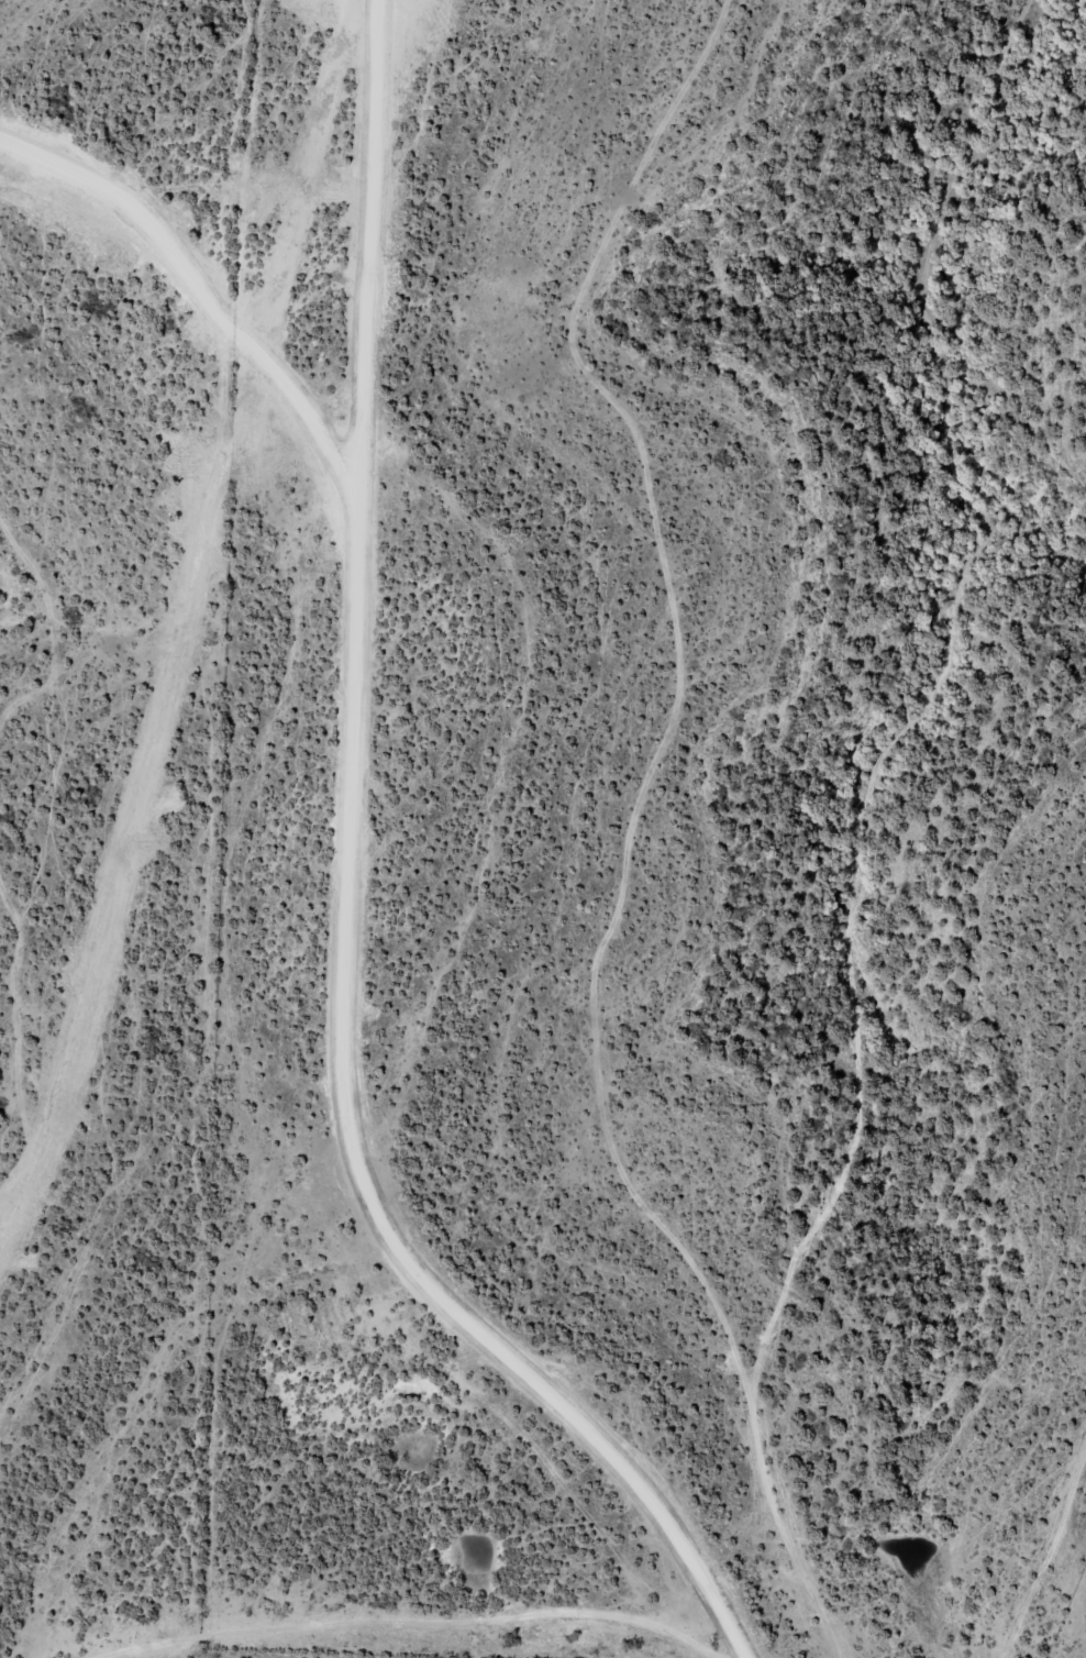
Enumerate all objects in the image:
road: (884, 824)
road: (442, 1637)

